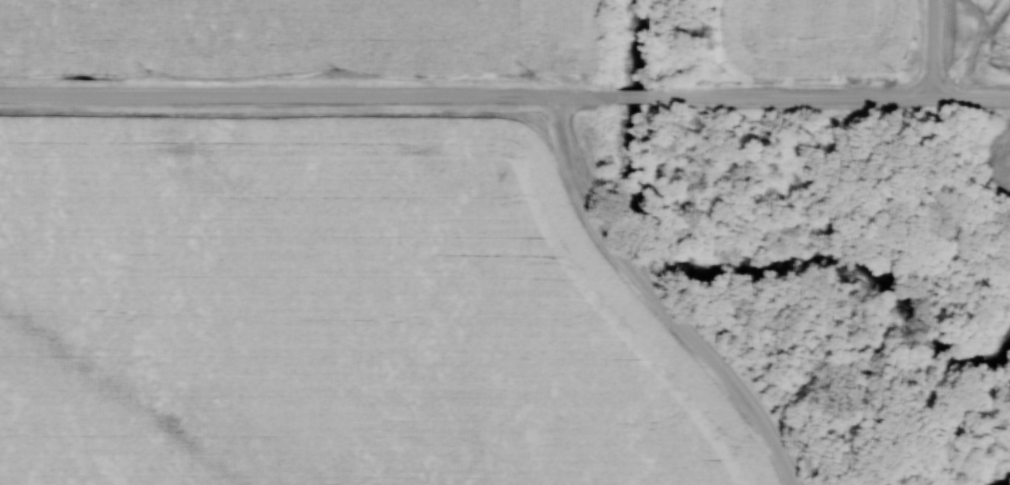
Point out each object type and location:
road: (935, 49)
road: (467, 96)
road: (972, 98)
road: (663, 299)

